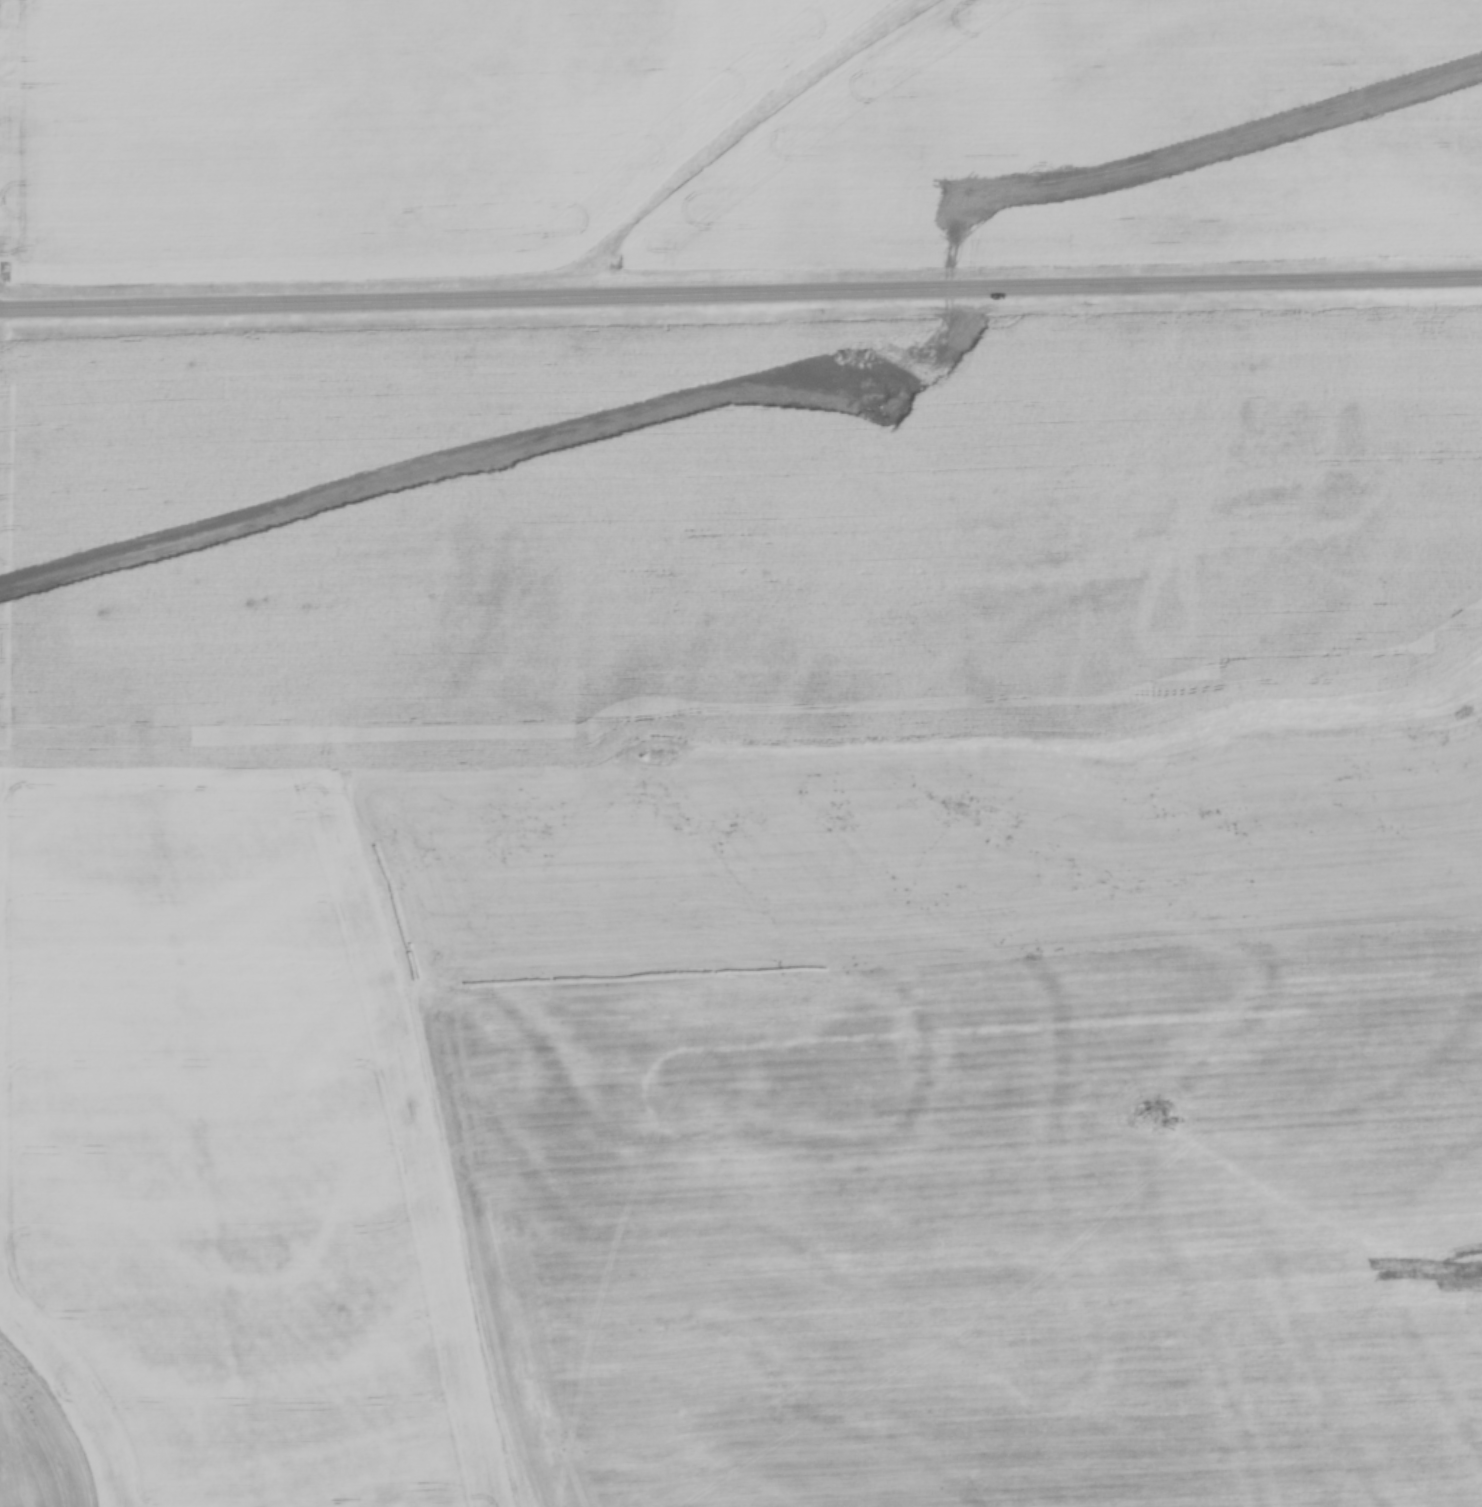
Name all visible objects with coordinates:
road: (740, 283)

